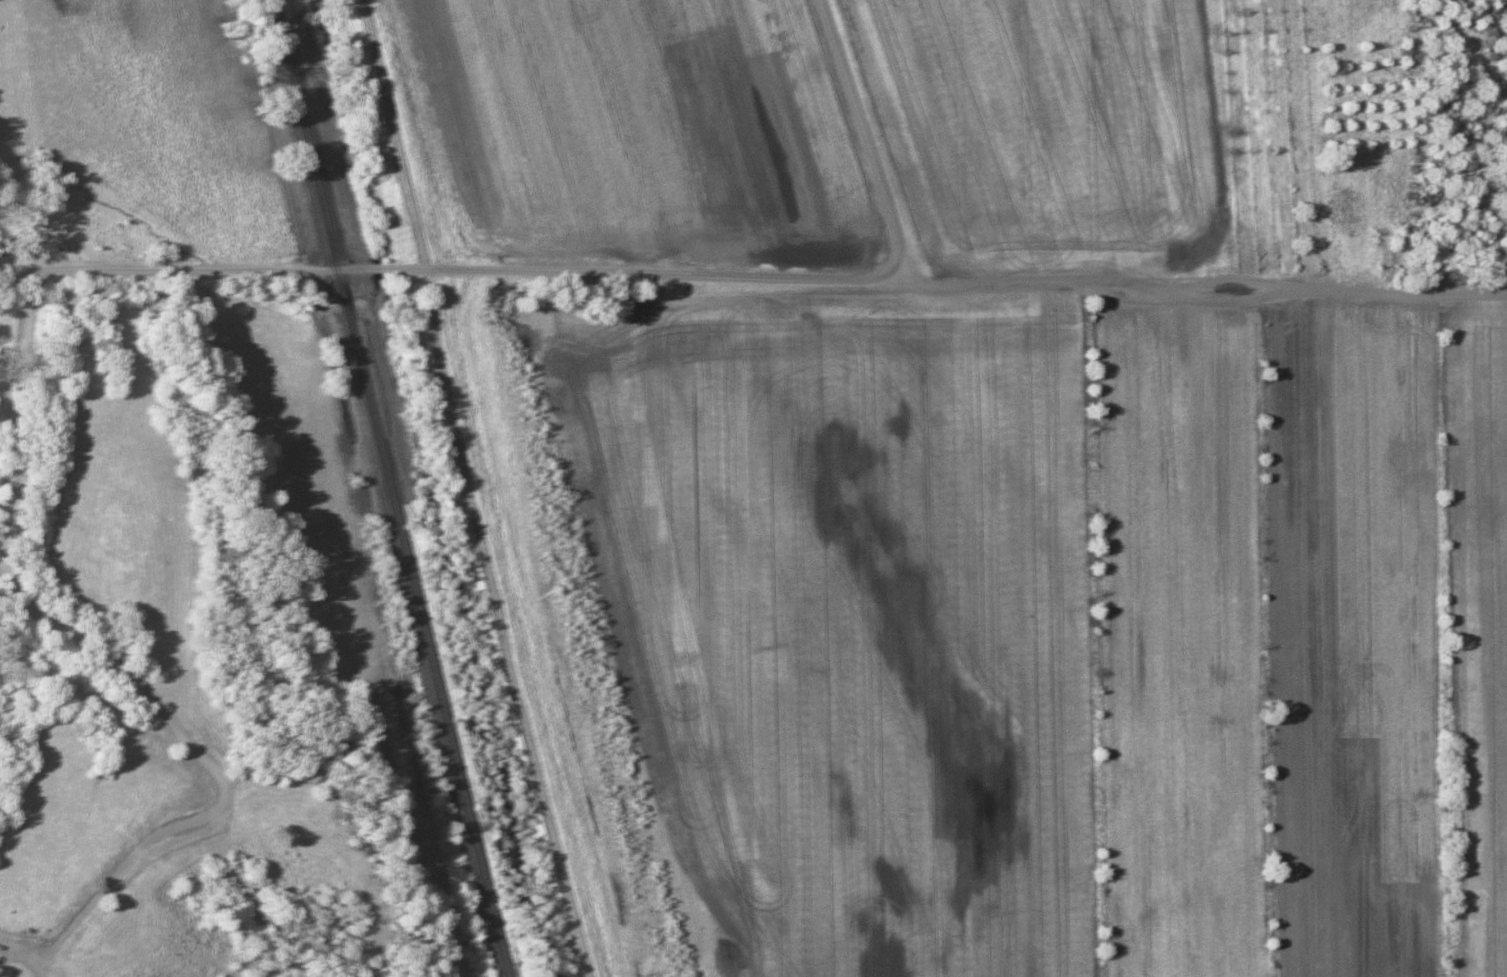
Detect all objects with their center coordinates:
road: (867, 136)
road: (443, 267)
road: (1196, 282)
railway: (382, 486)
road: (126, 662)

